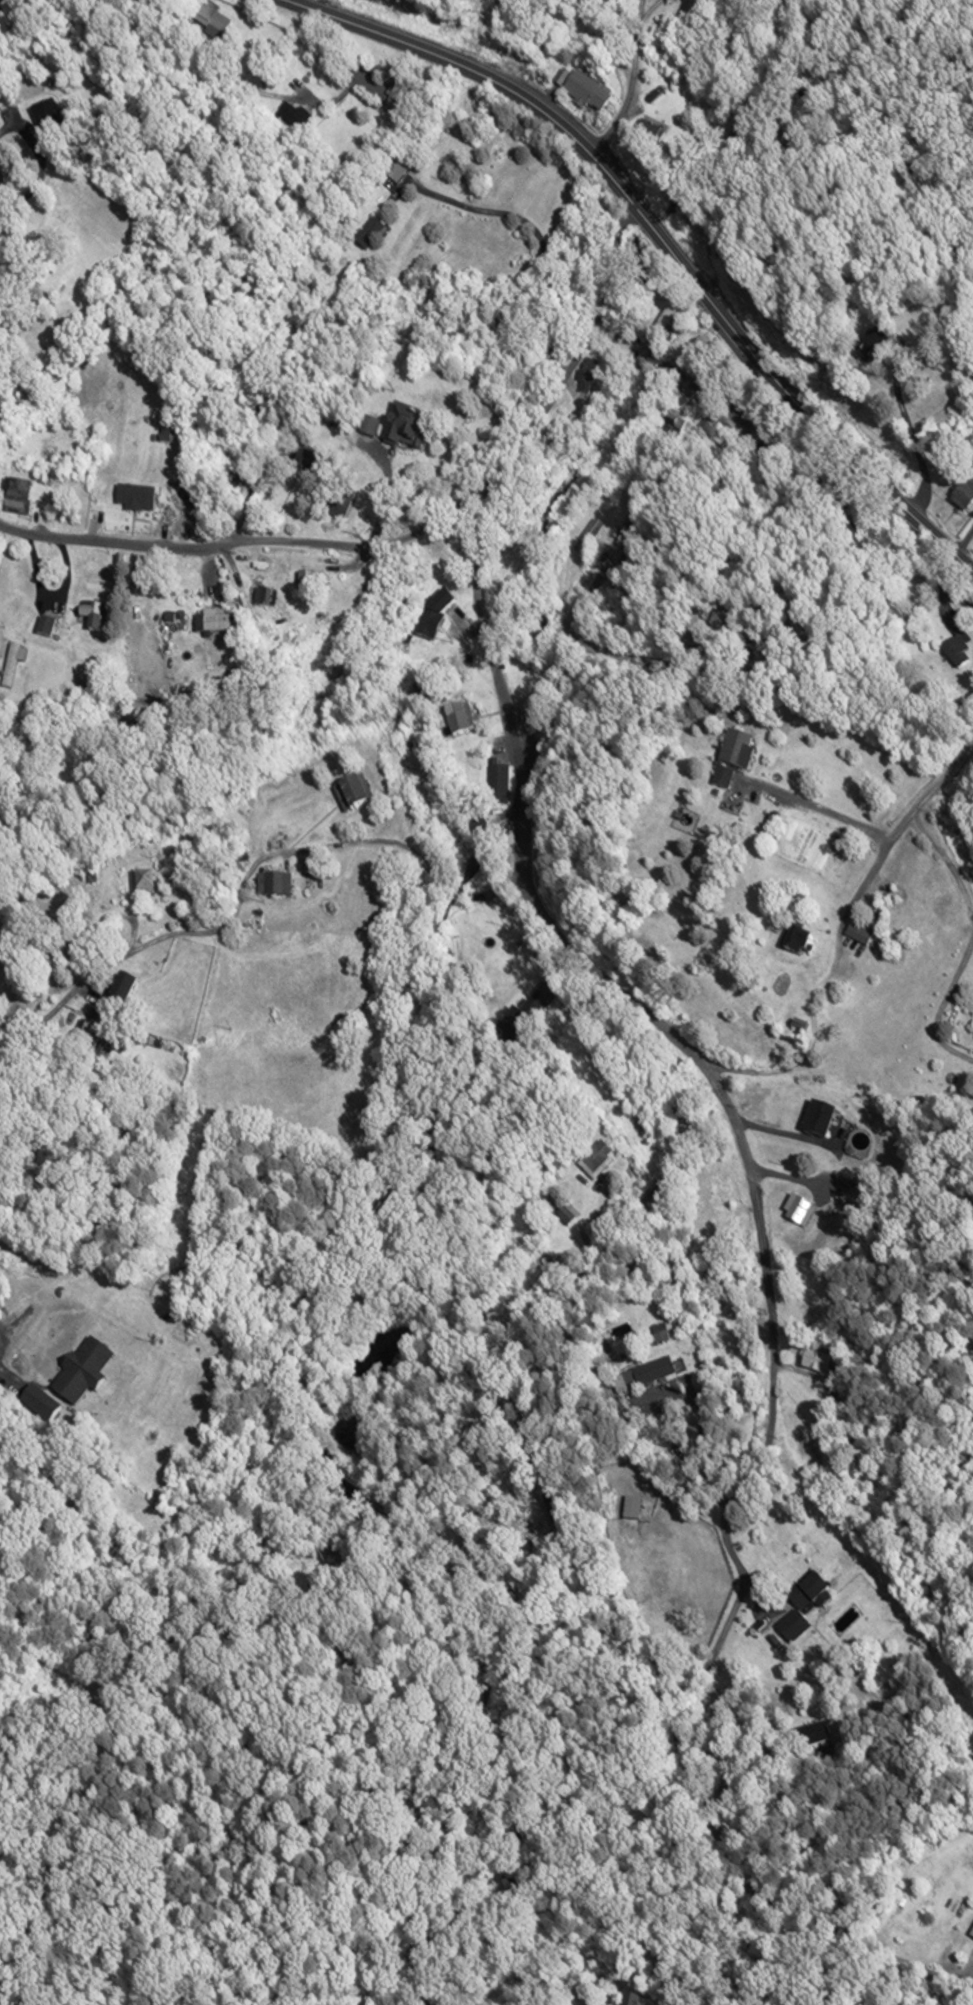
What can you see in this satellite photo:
road: (9, 2)
building: (209, 25)
road: (634, 81)
building: (583, 94)
building: (47, 124)
building: (648, 136)
road: (361, 142)
road: (40, 165)
building: (395, 175)
road: (666, 230)
road: (525, 234)
building: (368, 236)
building: (662, 324)
building: (869, 349)
building: (704, 350)
road: (679, 371)
building: (587, 378)
building: (368, 430)
building: (406, 431)
building: (568, 433)
road: (260, 454)
building: (303, 468)
building: (963, 497)
building: (17, 500)
building: (134, 501)
building: (340, 506)
road: (953, 514)
building: (627, 530)
road: (415, 531)
building: (306, 584)
road: (574, 592)
road: (48, 594)
building: (264, 600)
building: (90, 616)
building: (433, 616)
building: (213, 622)
building: (134, 641)
building: (956, 654)
road: (632, 658)
building: (12, 663)
building: (422, 694)
building: (456, 720)
building: (732, 758)
building: (498, 785)
building: (352, 794)
road: (827, 807)
road: (887, 849)
road: (415, 855)
building: (141, 882)
building: (272, 885)
building: (858, 934)
road: (971, 938)
building: (795, 941)
road: (87, 976)
building: (121, 990)
building: (524, 1017)
road: (747, 1150)
building: (595, 1161)
building: (798, 1212)
building: (564, 1218)
road: (26, 1328)
road: (810, 1341)
building: (815, 1363)
building: (80, 1373)
building: (648, 1375)
building: (486, 1427)
road: (698, 1436)
building: (631, 1509)
building: (800, 1609)
building: (813, 1737)
road: (845, 1939)
building: (629, 2001)

